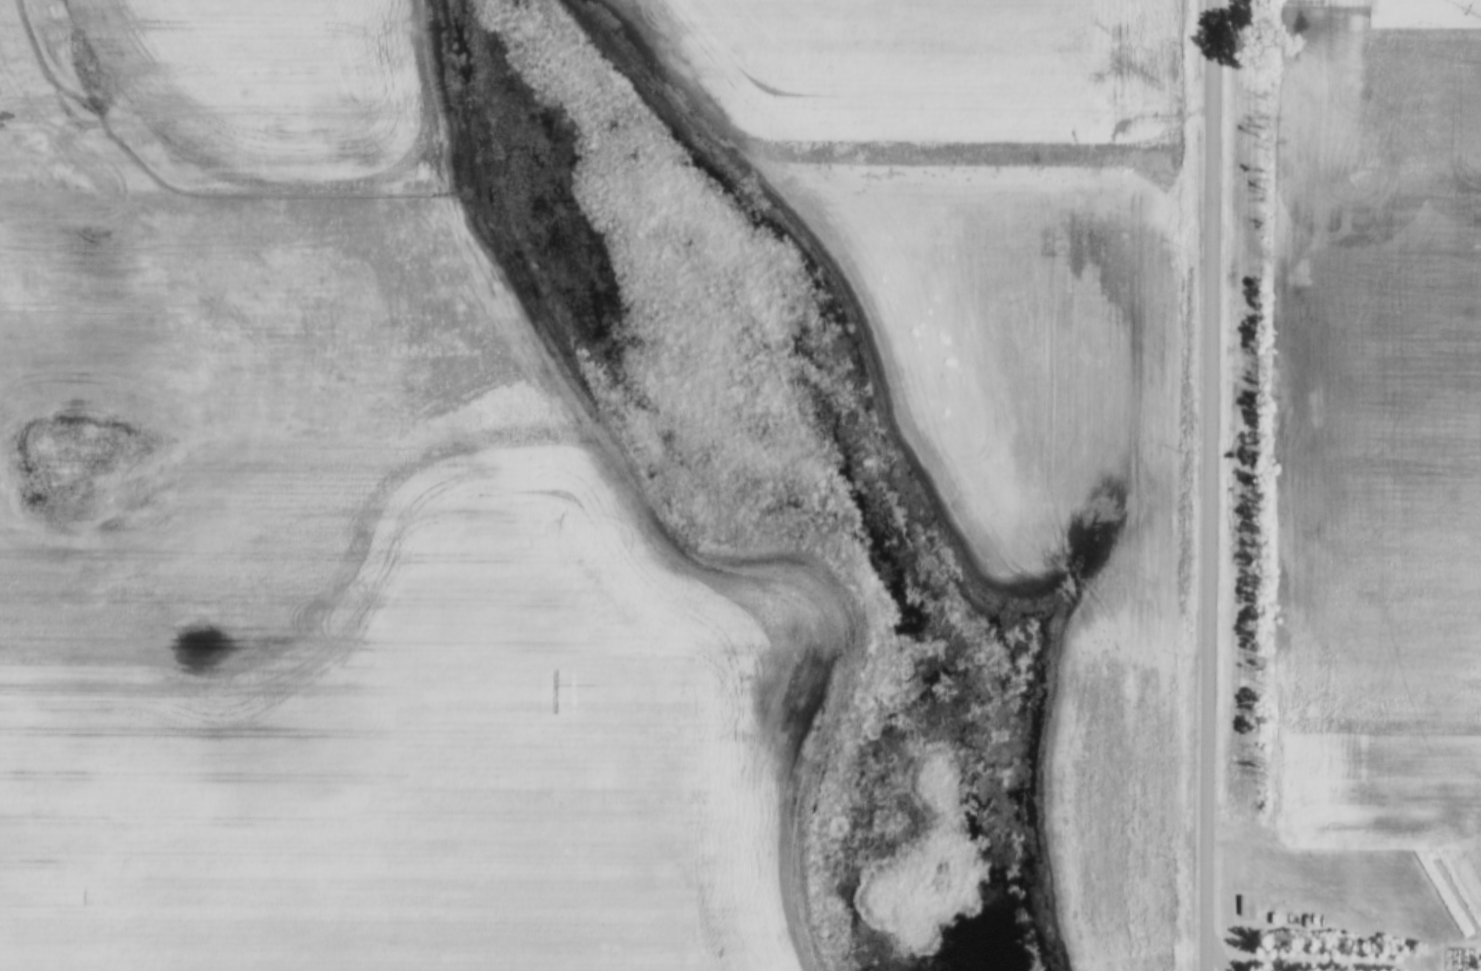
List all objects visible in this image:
road: (1210, 485)

